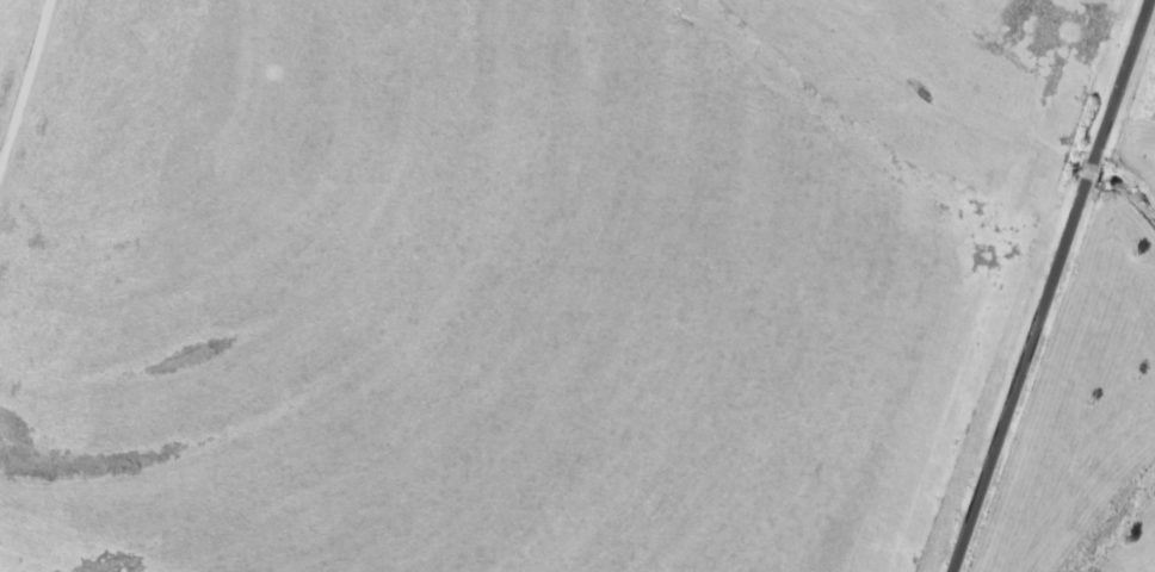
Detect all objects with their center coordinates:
road: (27, 92)
road: (1054, 286)

